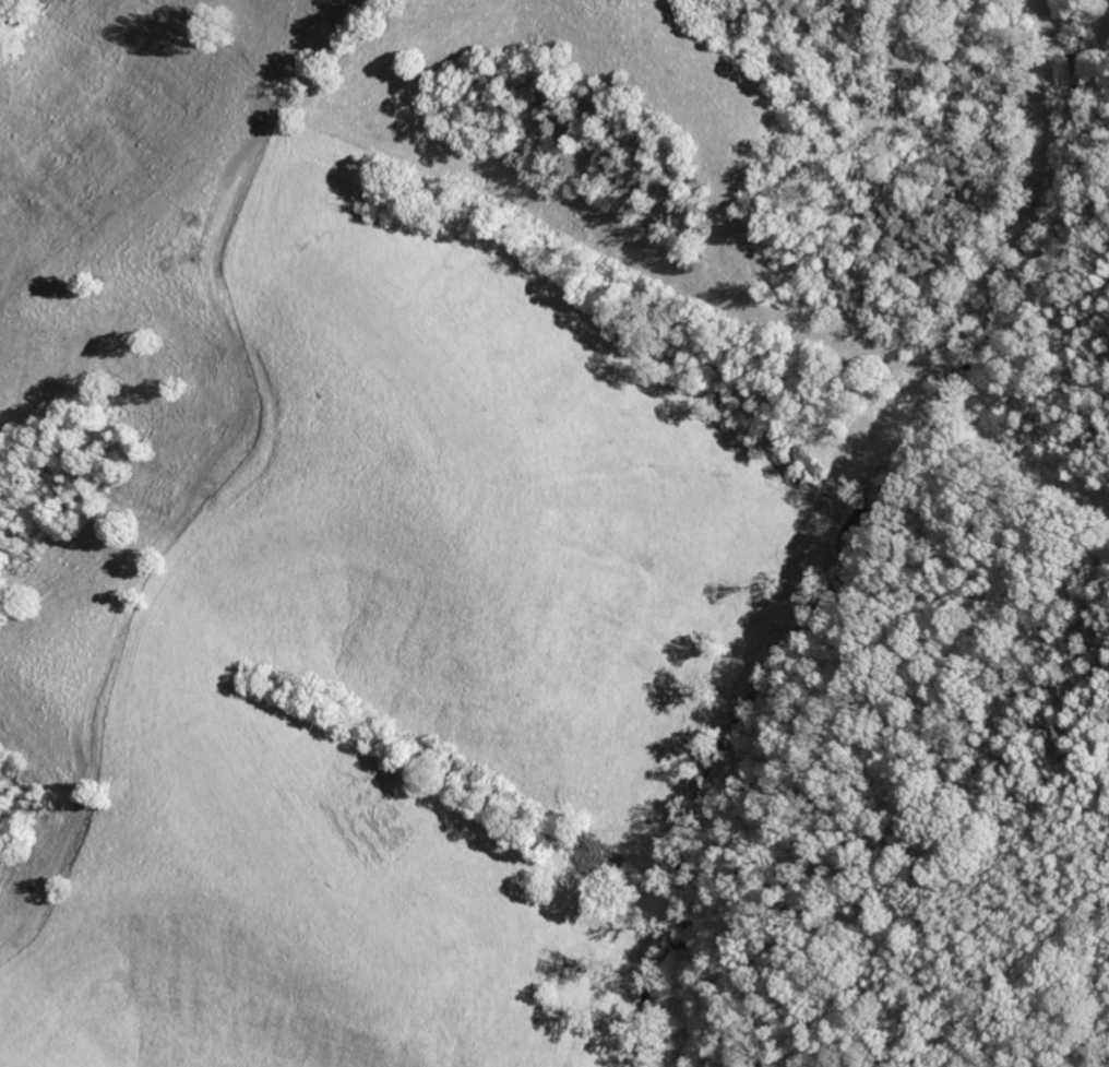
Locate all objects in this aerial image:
road: (277, 55)

